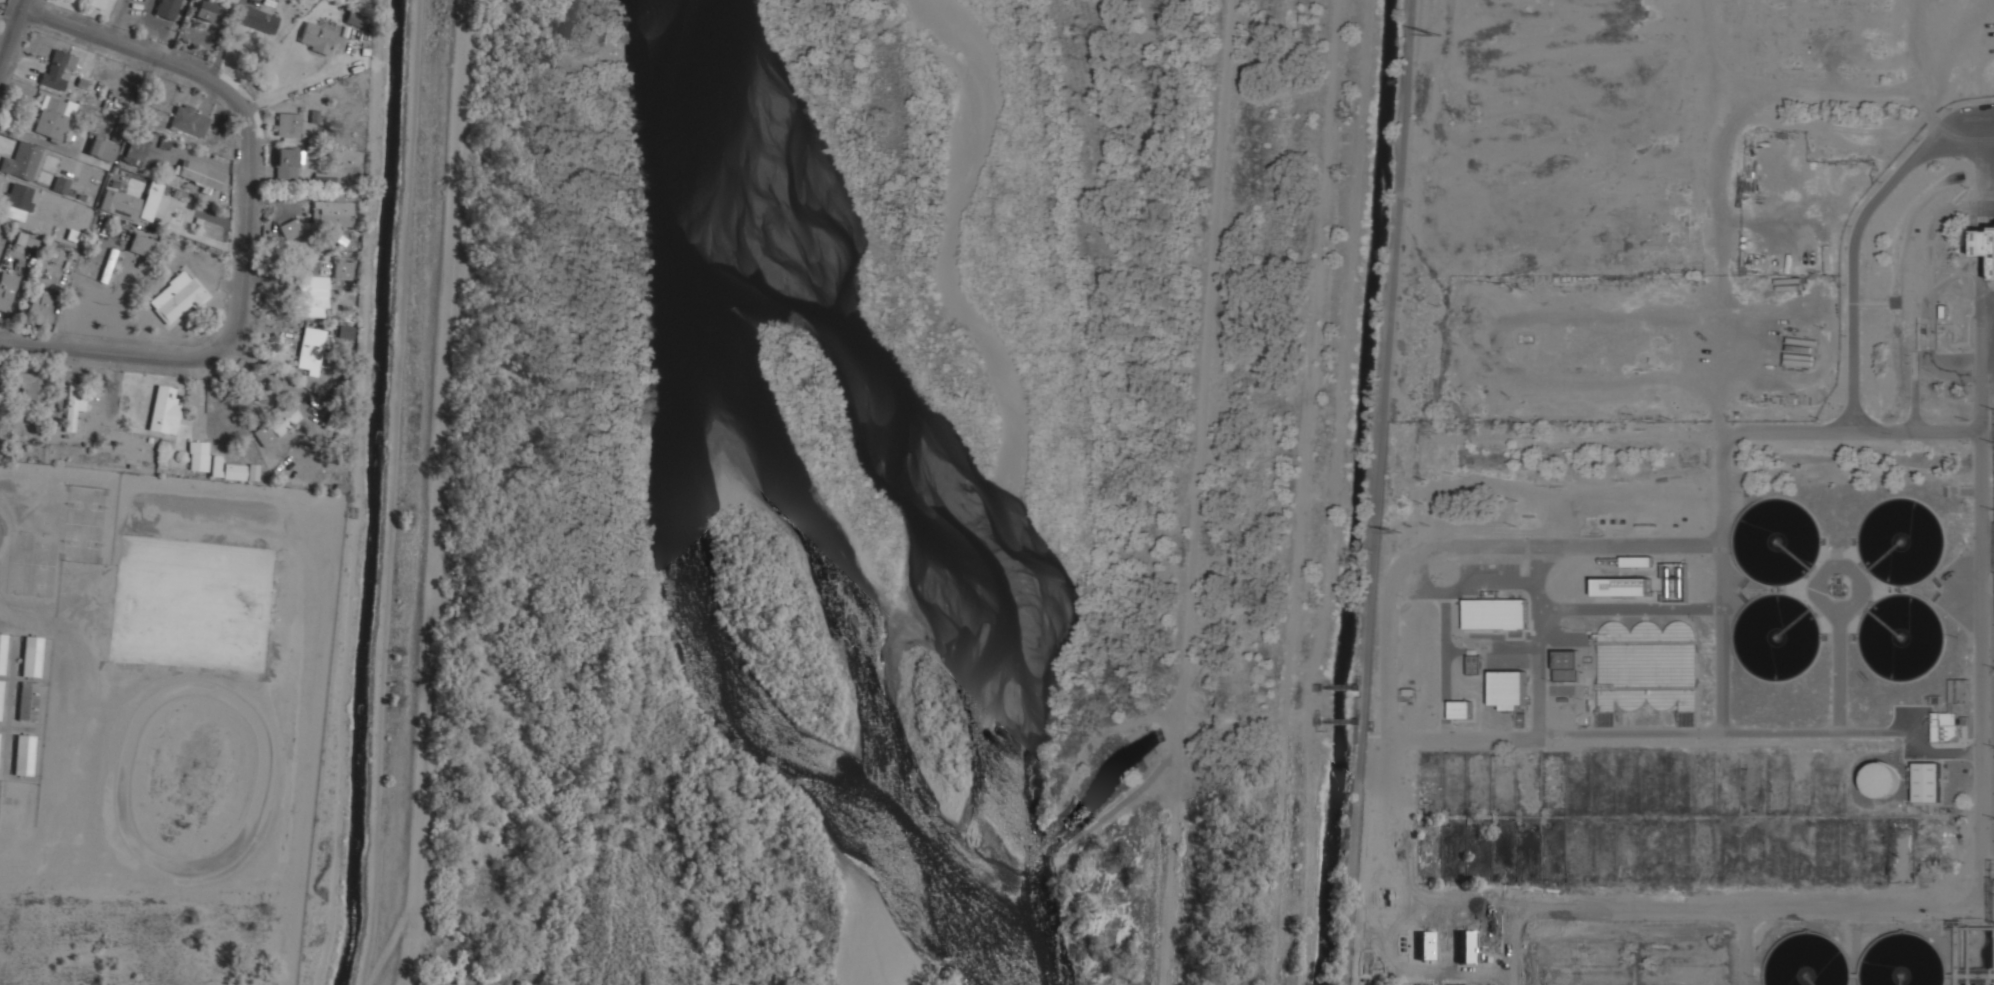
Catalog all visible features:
building: (97, 3)
building: (167, 8)
building: (205, 9)
building: (356, 18)
building: (258, 19)
road: (12, 29)
building: (316, 37)
building: (57, 68)
building: (52, 117)
building: (189, 120)
building: (289, 124)
building: (103, 147)
building: (136, 151)
building: (21, 160)
building: (288, 163)
building: (198, 173)
building: (61, 184)
road: (1145, 192)
building: (18, 198)
building: (131, 202)
building: (332, 210)
road: (246, 220)
building: (291, 229)
building: (68, 232)
building: (1984, 243)
building: (143, 244)
building: (343, 269)
building: (6, 290)
building: (178, 295)
building: (313, 296)
building: (40, 305)
building: (345, 331)
building: (310, 350)
building: (31, 385)
building: (74, 404)
building: (165, 410)
building: (277, 425)
building: (218, 463)
river: (902, 481)
road: (1205, 492)
road: (1378, 492)
building: (1623, 585)
wastewater plant: (1696, 586)
building: (1497, 613)
building: (3, 651)
building: (32, 655)
building: (1473, 663)
building: (1566, 664)
building: (1648, 666)
building: (1511, 692)
building: (1407, 693)
building: (1, 697)
building: (28, 700)
building: (1462, 708)
building: (1946, 725)
building: (24, 754)
building: (1882, 777)
storage tank: (1882, 777)
building: (1927, 781)
building: (1427, 945)

